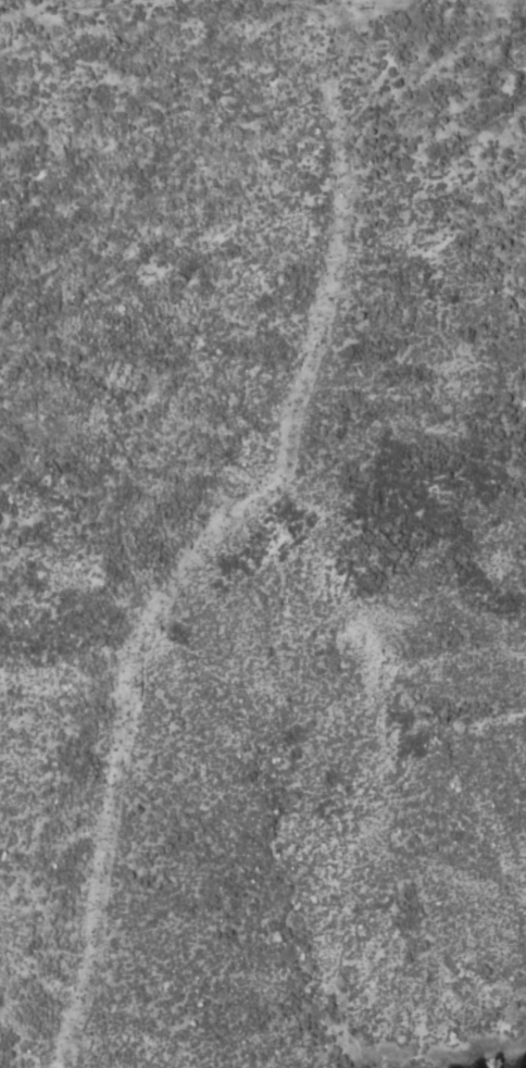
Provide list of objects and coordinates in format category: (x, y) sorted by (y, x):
road: (276, 467)

